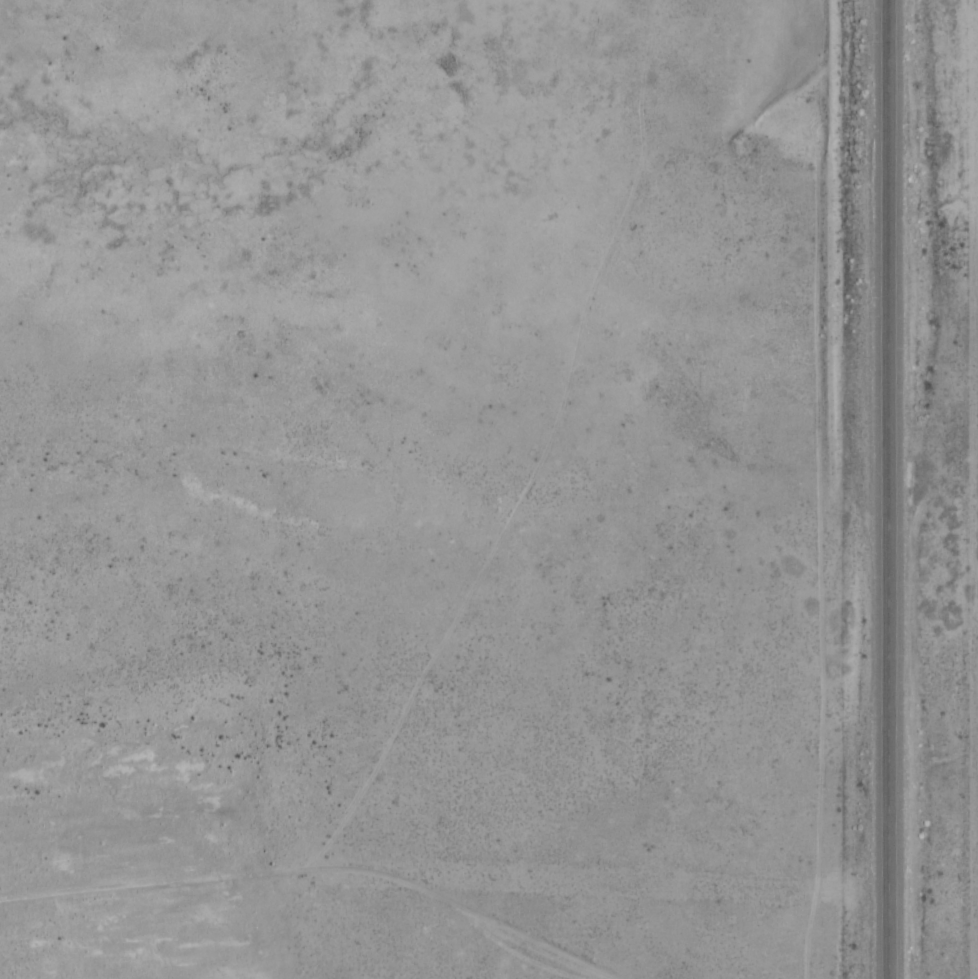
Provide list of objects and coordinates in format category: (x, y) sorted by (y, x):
road: (893, 489)

